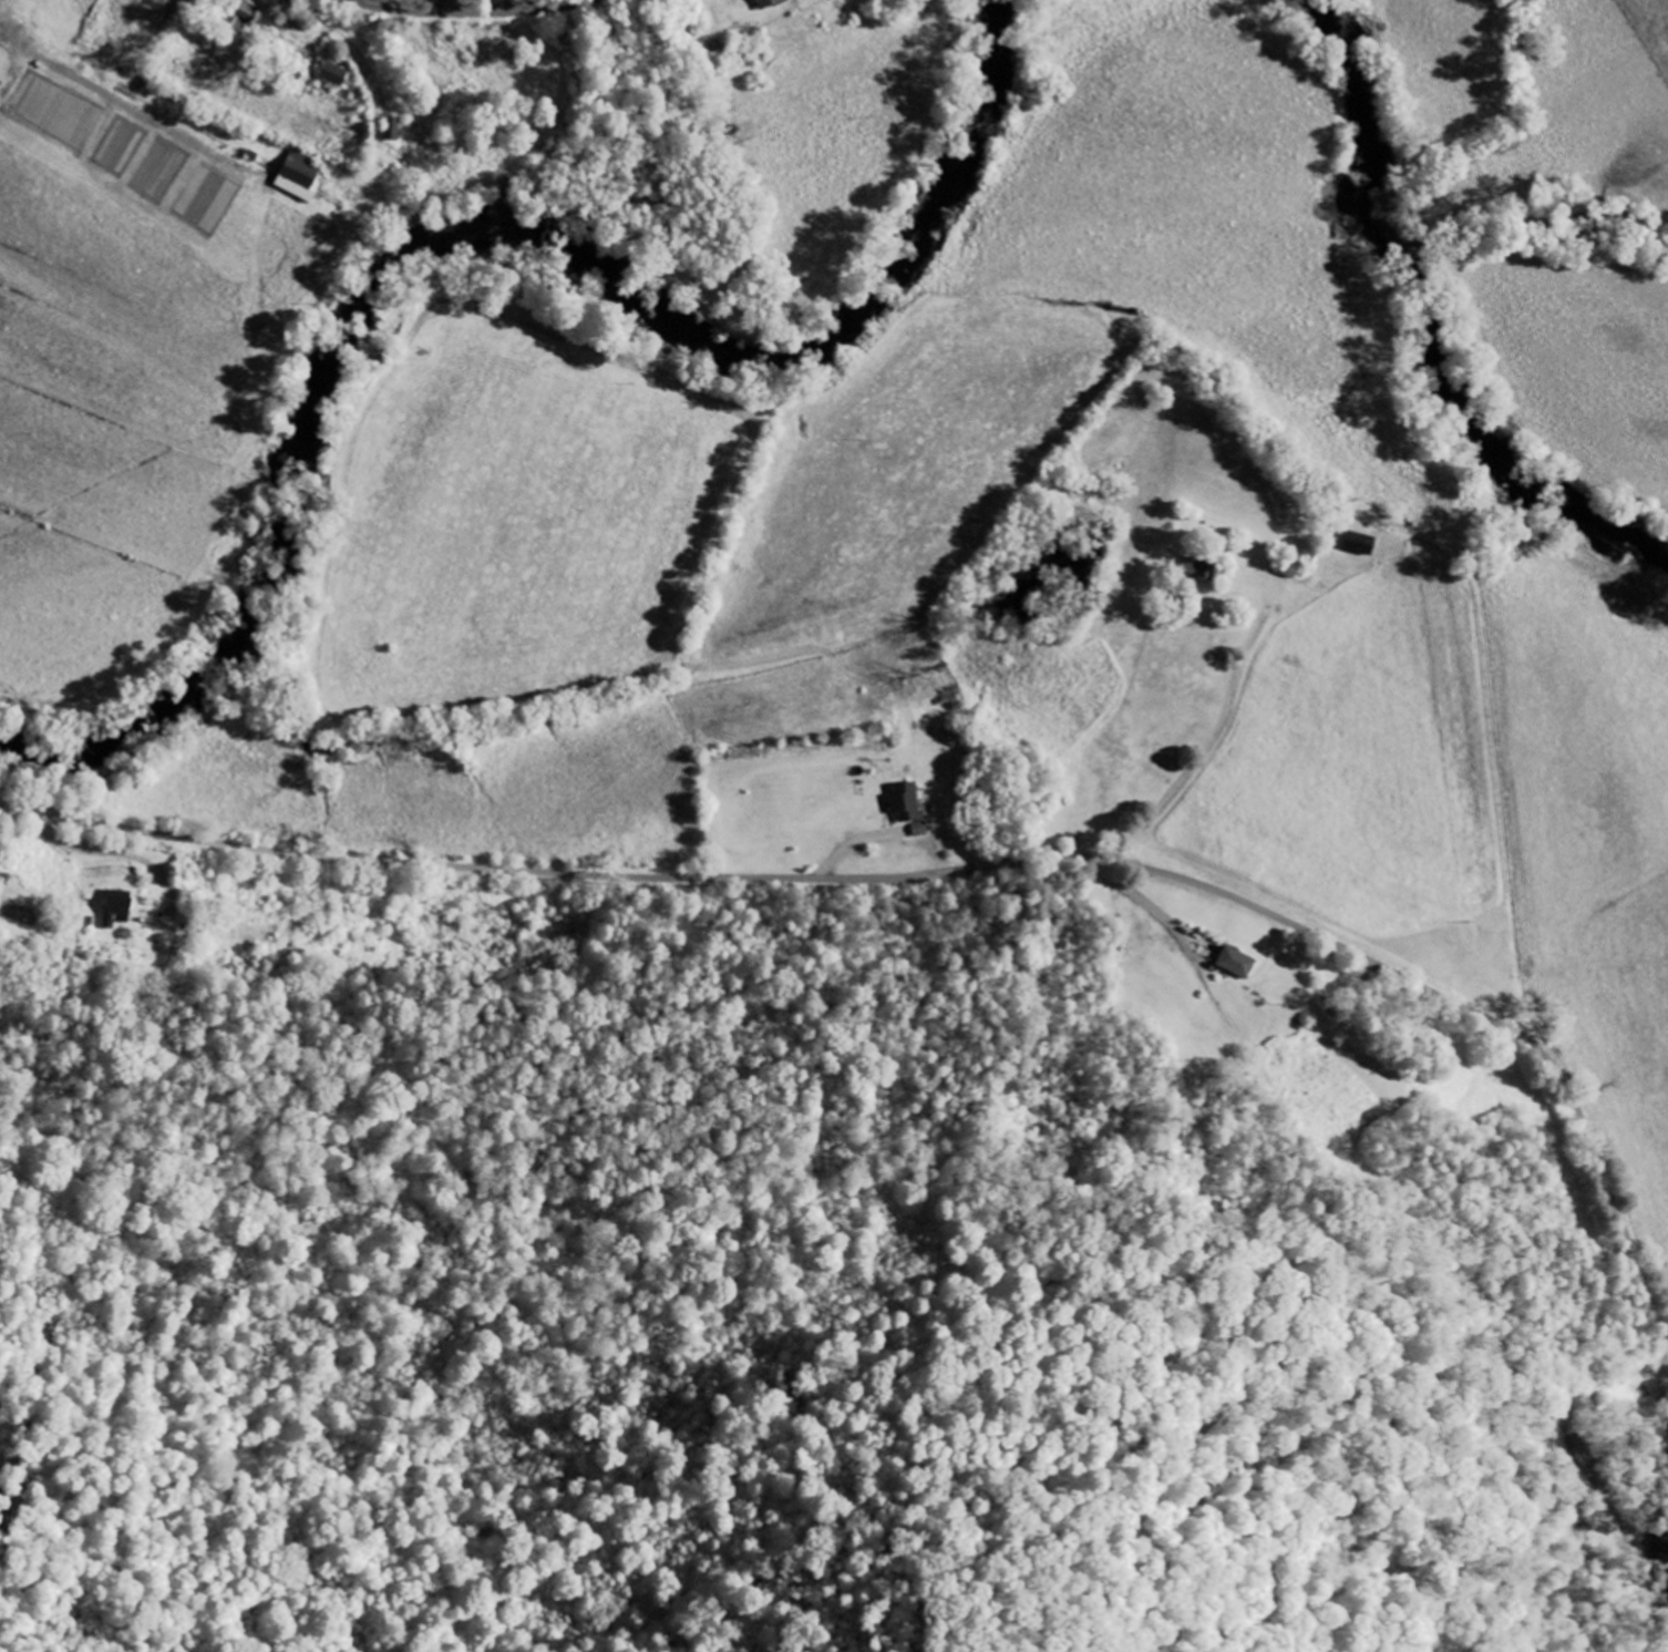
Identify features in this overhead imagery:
building: (284, 3)
building: (765, 4)
road: (472, 11)
building: (244, 17)
building: (334, 75)
building: (393, 131)
building: (300, 177)
building: (1361, 543)
building: (907, 803)
road: (837, 876)
building: (119, 907)
building: (1236, 963)
road: (1608, 1189)

